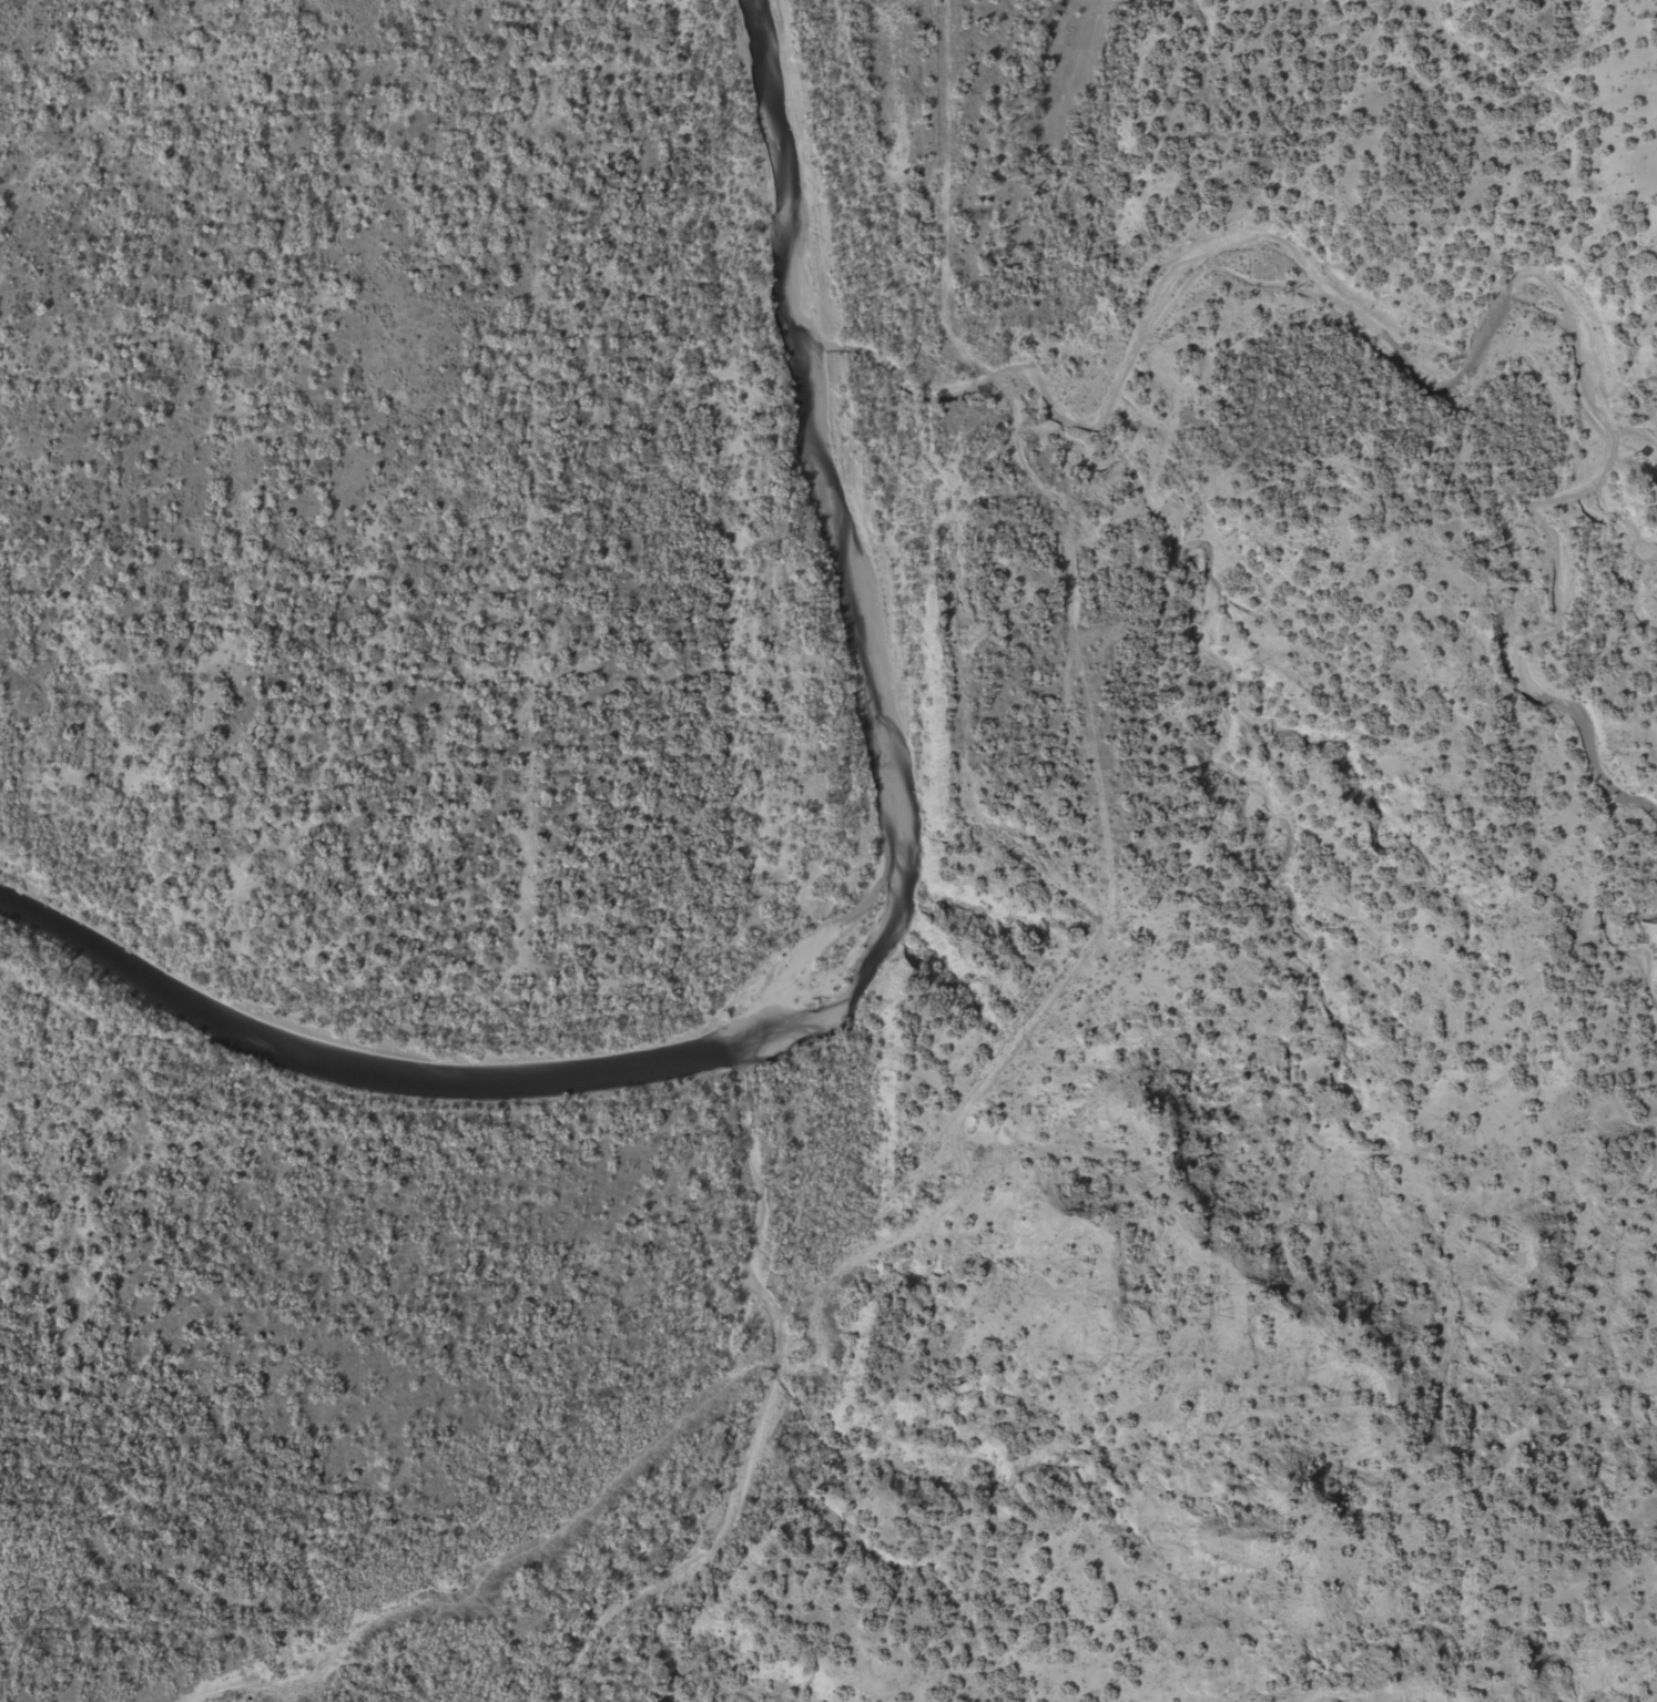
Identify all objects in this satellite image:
river: (856, 929)

